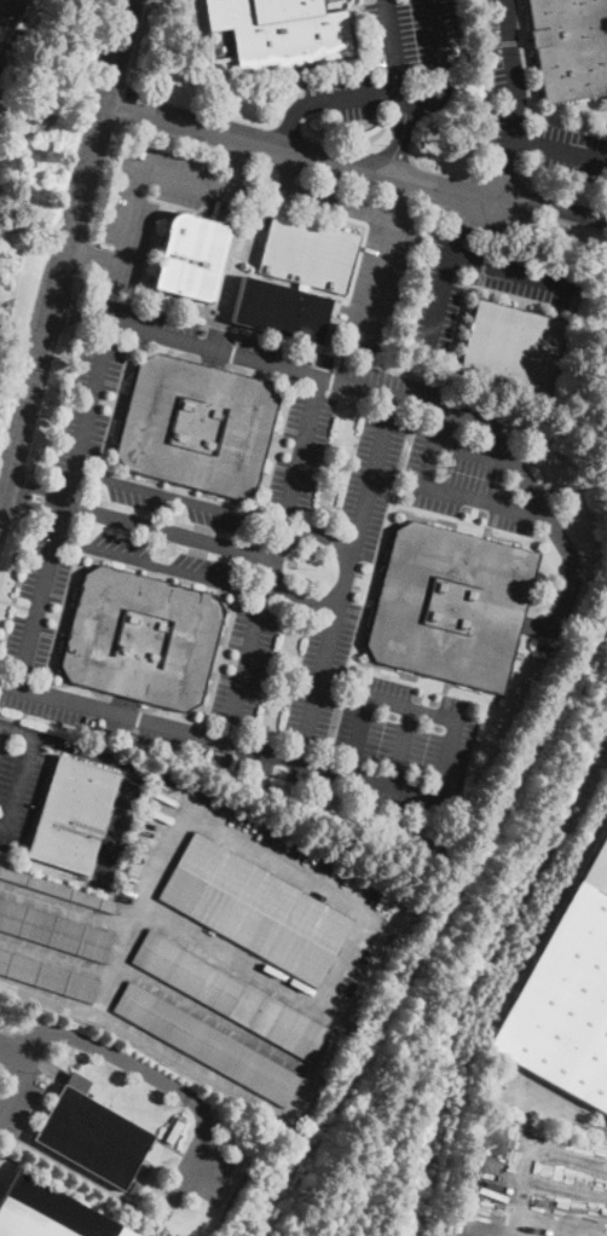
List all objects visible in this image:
building: (8, 10)
building: (281, 31)
building: (17, 34)
road: (1, 36)
building: (47, 37)
road: (140, 40)
building: (12, 46)
building: (0, 47)
road: (388, 47)
building: (570, 47)
parking lot: (394, 62)
road: (515, 77)
parking lot: (510, 86)
building: (2, 87)
road: (420, 99)
road: (125, 104)
road: (290, 121)
road: (401, 139)
road: (557, 149)
road: (296, 151)
road: (239, 162)
road: (140, 167)
road: (288, 169)
road: (499, 179)
road: (103, 184)
road: (401, 194)
road: (343, 201)
parking lot: (160, 202)
road: (550, 206)
road: (463, 216)
road: (63, 242)
building: (307, 252)
road: (89, 253)
road: (86, 254)
building: (190, 256)
parking lot: (372, 267)
road: (382, 270)
road: (514, 272)
road: (79, 281)
road: (440, 289)
parking lot: (554, 299)
road: (65, 307)
building: (279, 310)
road: (70, 311)
building: (511, 347)
building: (427, 363)
road: (67, 392)
road: (47, 399)
road: (411, 400)
building: (196, 424)
road: (444, 424)
parking lot: (305, 437)
road: (300, 450)
road: (426, 485)
road: (35, 486)
road: (23, 492)
road: (177, 497)
road: (65, 503)
road: (33, 506)
road: (170, 531)
road: (283, 532)
road: (10, 547)
road: (160, 564)
road: (345, 578)
road: (271, 585)
road: (305, 602)
road: (15, 605)
building: (451, 606)
building: (141, 639)
road: (244, 665)
parking lot: (256, 683)
road: (452, 716)
road: (0, 728)
road: (359, 735)
road: (219, 739)
road: (64, 746)
road: (404, 746)
road: (19, 786)
parking lot: (19, 789)
building: (73, 815)
parking lot: (120, 821)
road: (112, 824)
road: (225, 831)
parking lot: (291, 860)
building: (57, 889)
road: (62, 903)
building: (256, 906)
railway: (434, 928)
railway: (545, 928)
building: (54, 931)
road: (54, 957)
road: (239, 958)
building: (48, 976)
railway: (475, 976)
railway: (487, 988)
building: (229, 995)
building: (567, 997)
road: (148, 1040)
building: (207, 1044)
road: (116, 1056)
road: (314, 1069)
road: (21, 1082)
railway: (447, 1084)
parking lot: (533, 1096)
parking lot: (21, 1103)
road: (551, 1113)
building: (174, 1128)
building: (93, 1133)
railway: (300, 1149)
road: (534, 1153)
road: (186, 1168)
parking lot: (206, 1169)
road: (568, 1189)
building: (47, 1213)
railway: (421, 1220)
road: (525, 1226)

